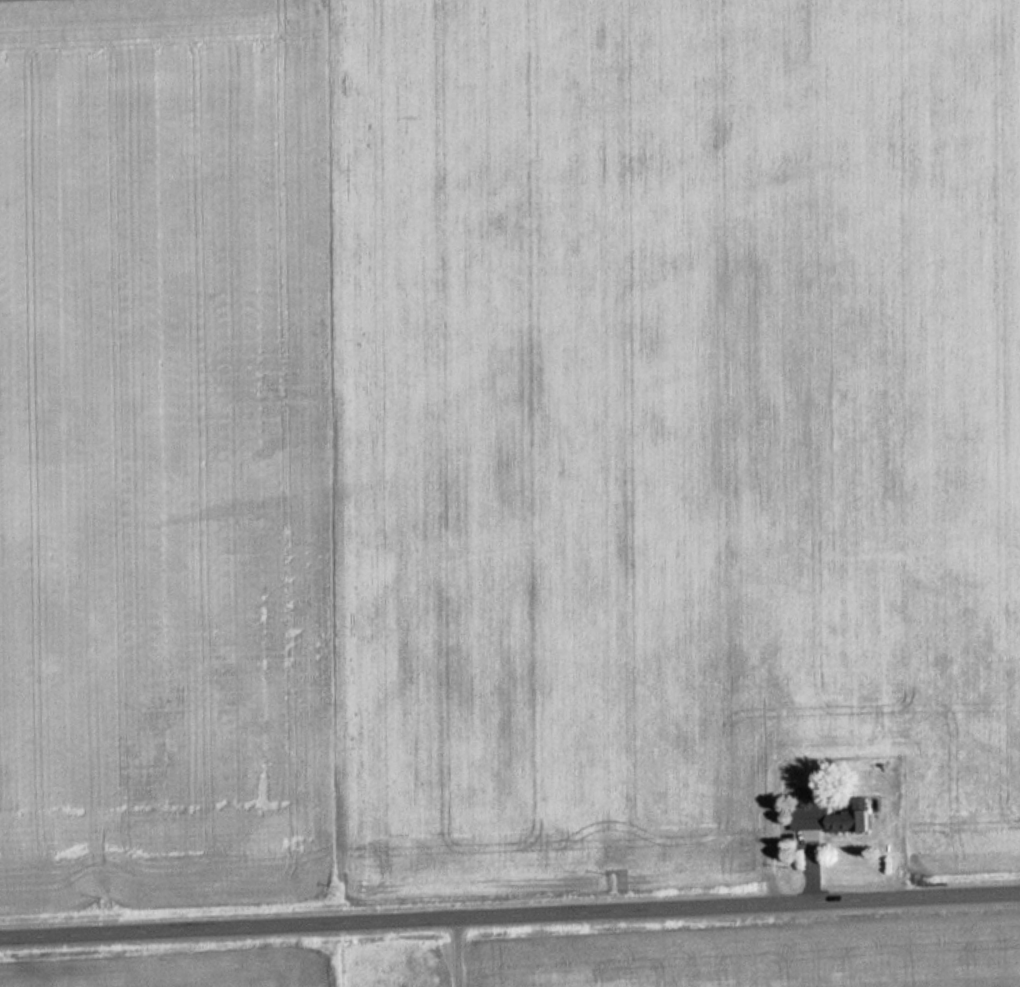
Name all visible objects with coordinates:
building: (812, 797)
building: (855, 821)
road: (510, 915)

